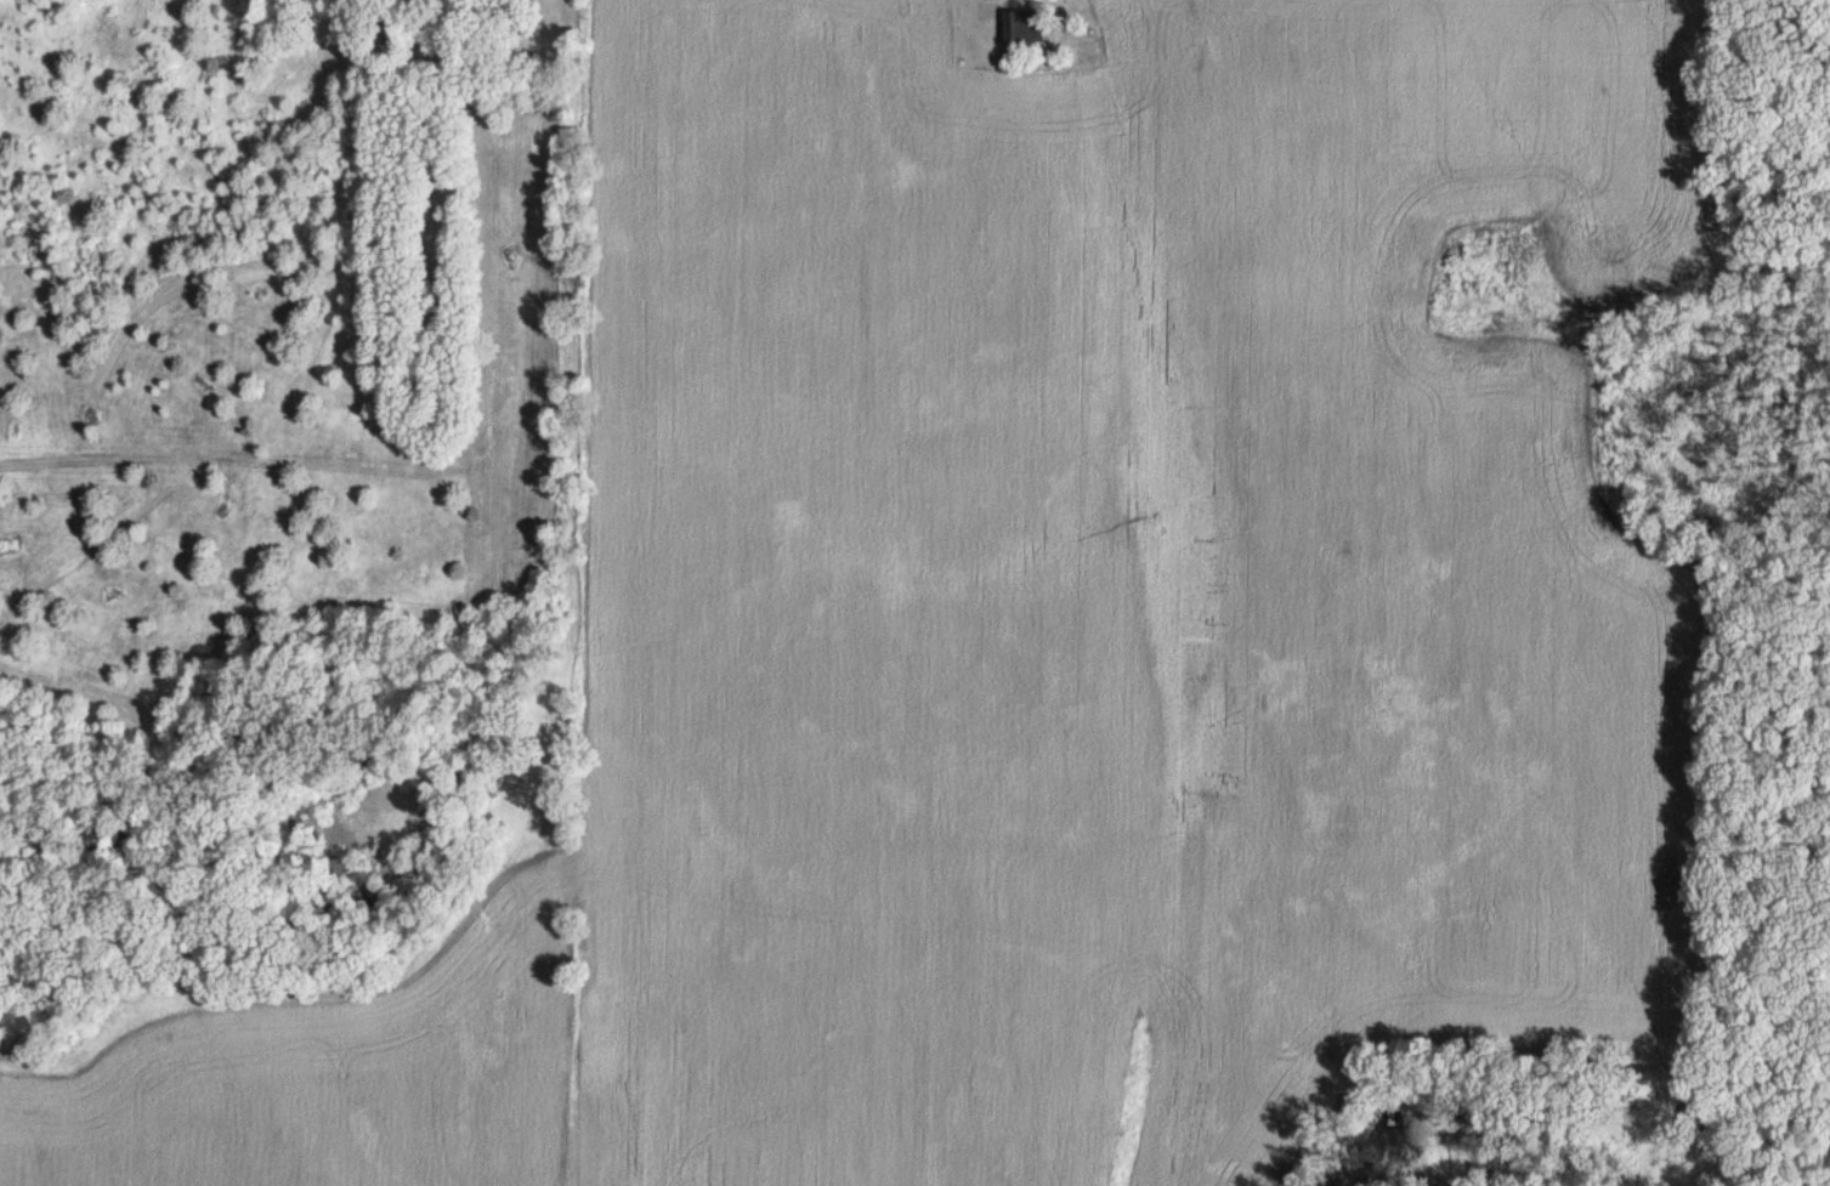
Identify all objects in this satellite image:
road: (431, 22)

